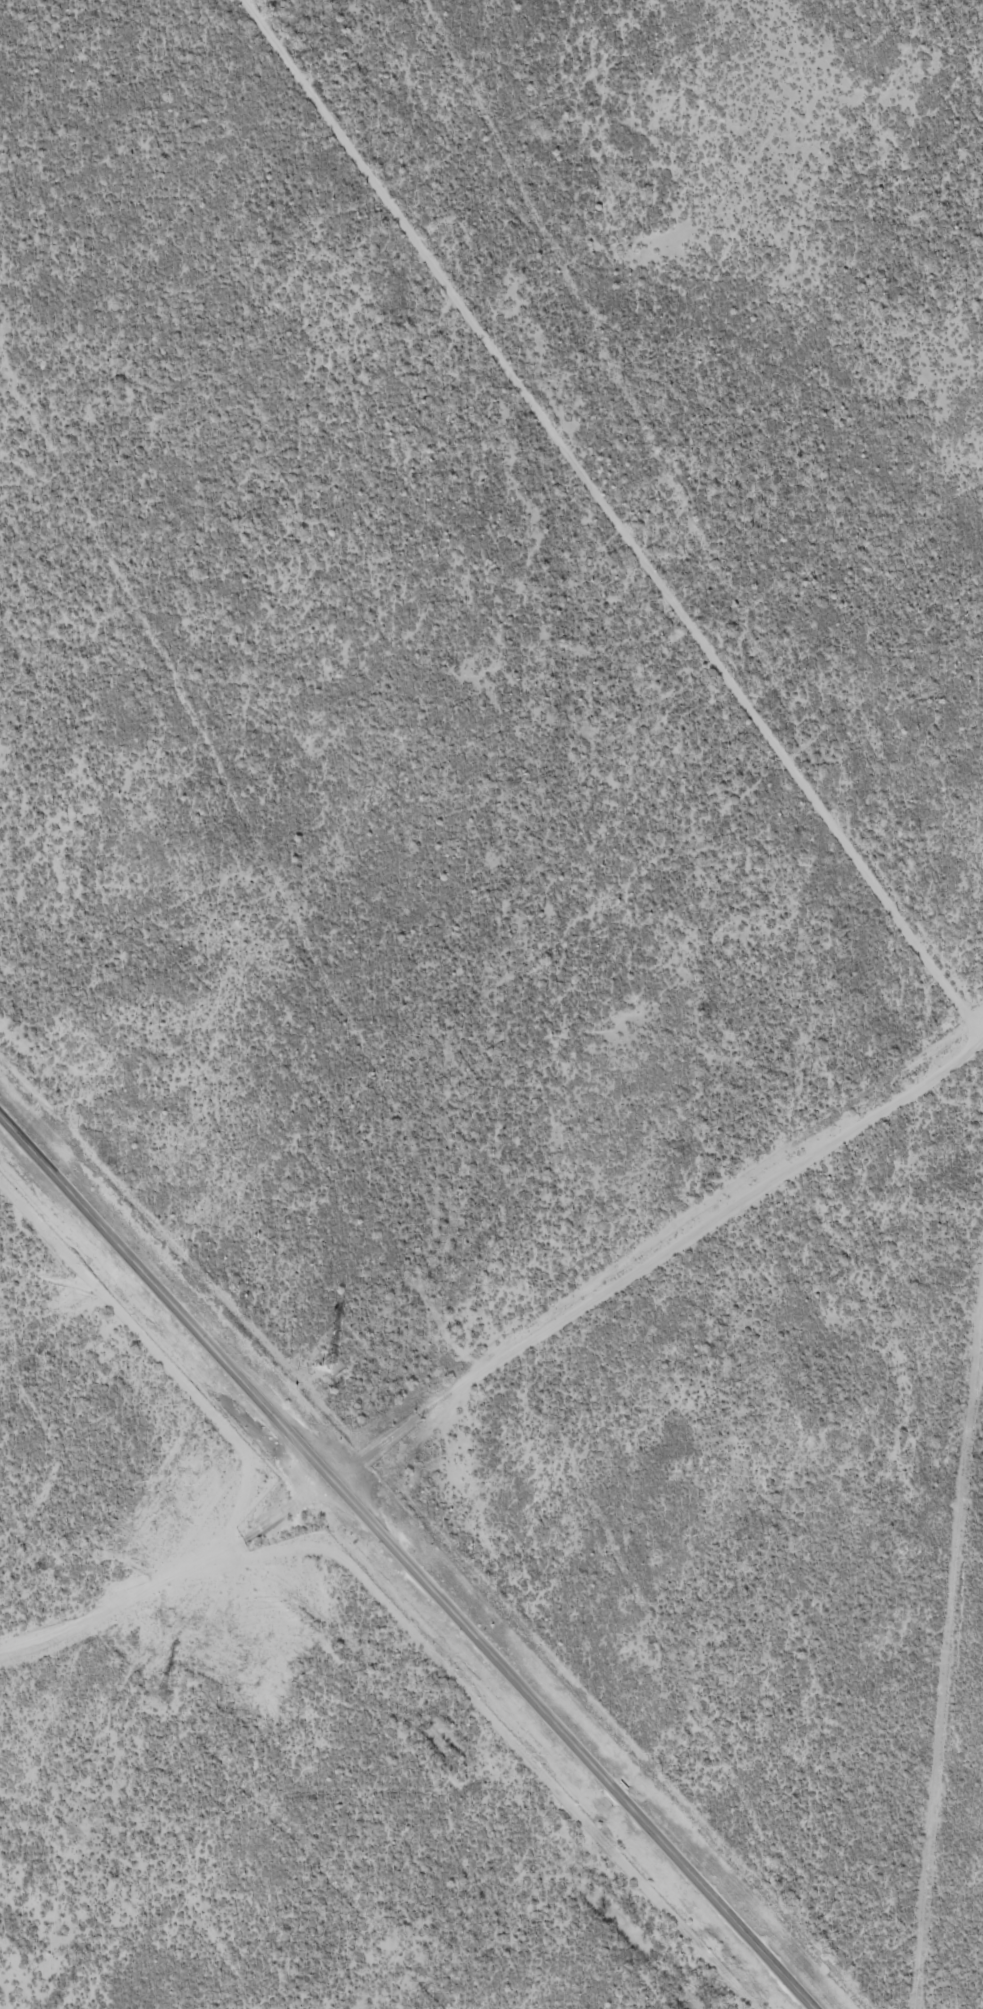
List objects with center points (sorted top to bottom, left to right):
power tower: (160, 1694)

